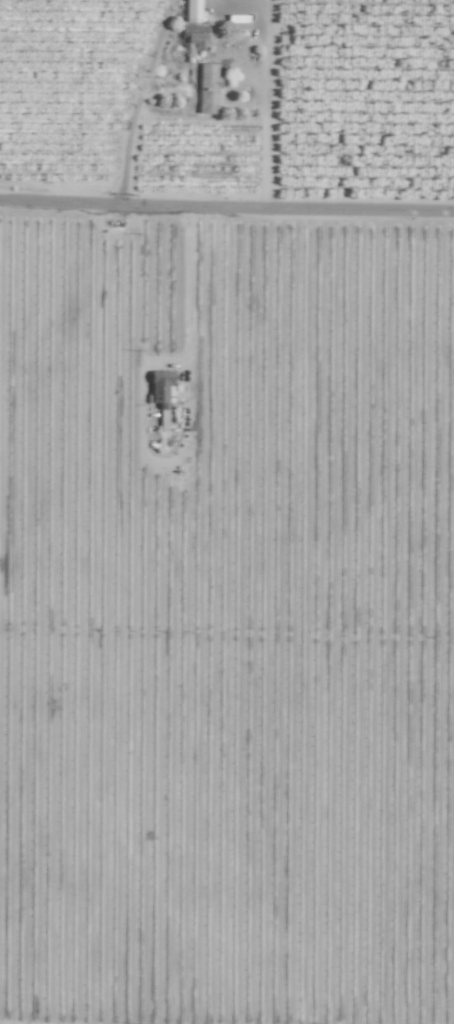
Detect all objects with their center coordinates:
building: (192, 9)
building: (207, 88)
road: (226, 207)
road: (189, 302)
building: (160, 388)
building: (161, 420)

